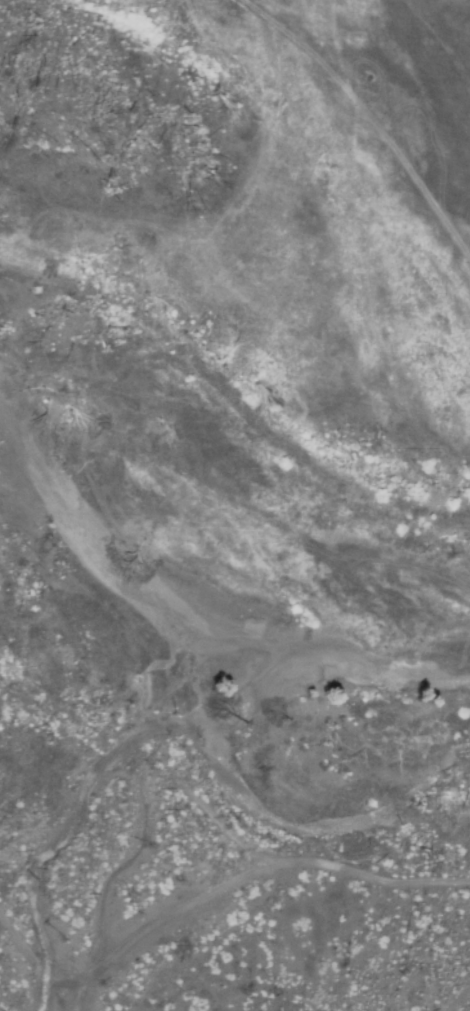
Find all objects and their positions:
road: (219, 890)
road: (439, 913)
road: (458, 1000)

